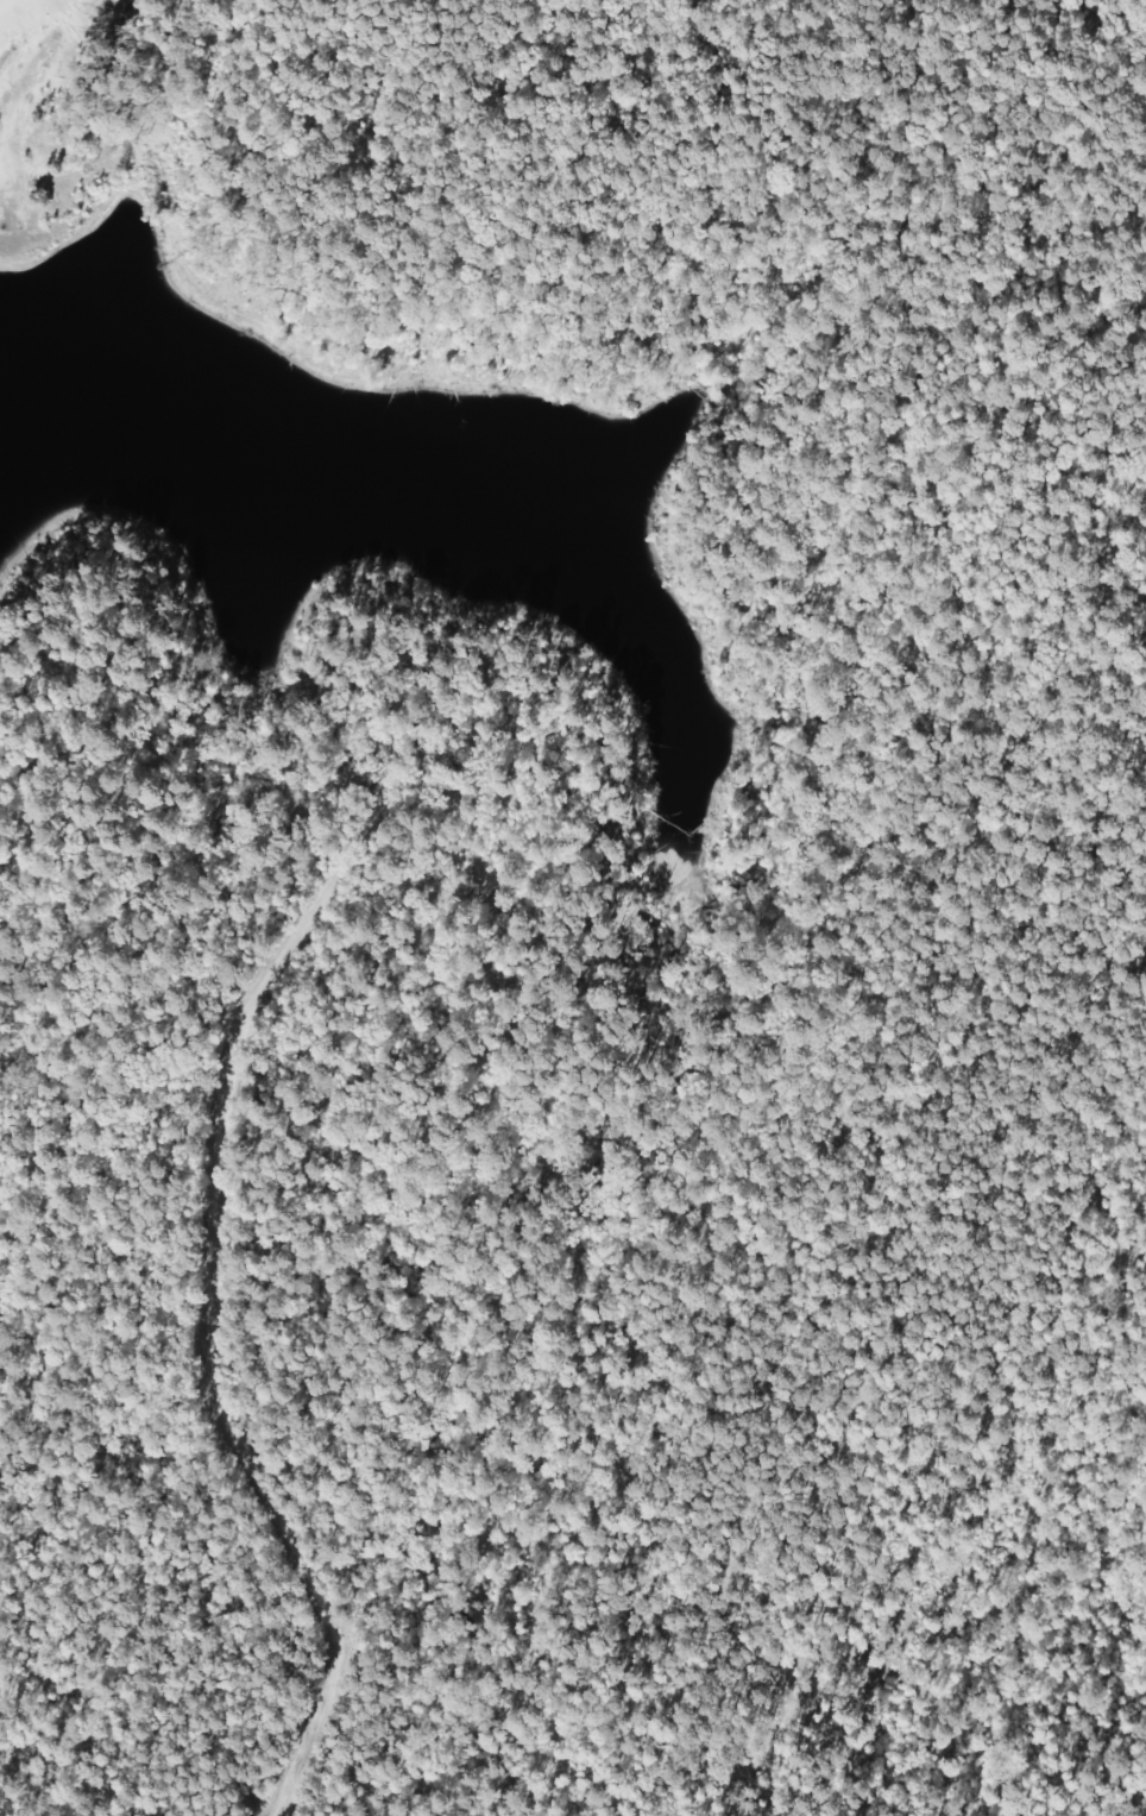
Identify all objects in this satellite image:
road: (209, 1296)

